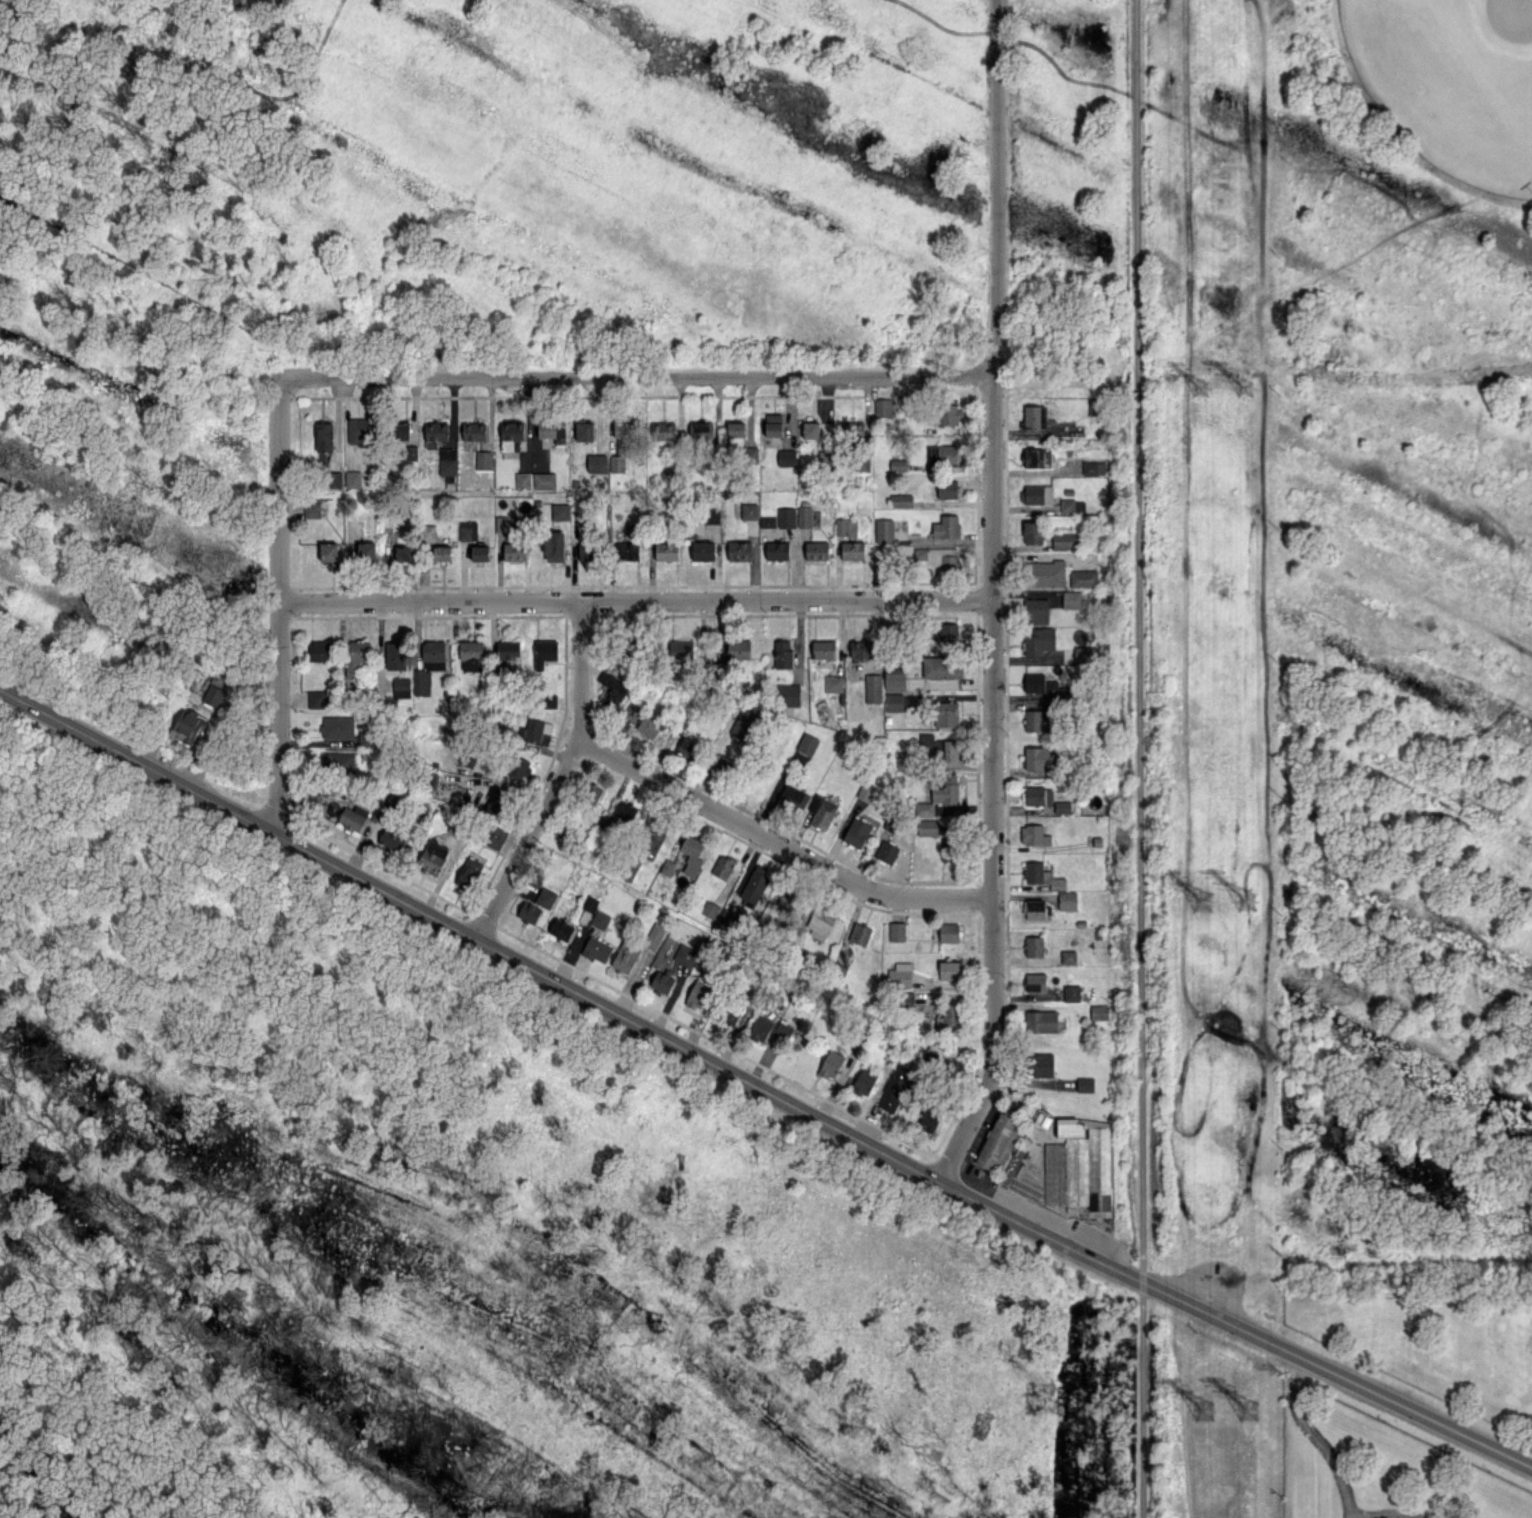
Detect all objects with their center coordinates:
park: (1451, 82)
road: (638, 377)
power tower: (1200, 385)
power tower: (1250, 387)
building: (883, 407)
building: (952, 414)
building: (1032, 416)
building: (773, 424)
building: (736, 428)
building: (852, 428)
building: (546, 429)
building: (811, 429)
building: (358, 430)
building: (400, 430)
building: (474, 430)
building: (585, 430)
building: (701, 430)
building: (664, 431)
building: (621, 432)
building: (435, 433)
building: (511, 434)
building: (324, 436)
building: (412, 452)
building: (947, 452)
building: (750, 454)
building: (786, 456)
building: (1037, 457)
building: (483, 459)
building: (447, 460)
building: (617, 463)
building: (862, 464)
building: (898, 464)
building: (1094, 467)
building: (334, 478)
building: (352, 478)
building: (523, 479)
building: (543, 480)
building: (947, 489)
building: (1039, 494)
building: (901, 499)
building: (1067, 504)
building: (312, 509)
building: (560, 511)
building: (749, 511)
building: (711, 515)
building: (786, 516)
building: (804, 516)
building: (767, 521)
building: (502, 523)
building: (846, 526)
building: (946, 526)
road: (994, 529)
building: (467, 530)
building: (884, 530)
building: (428, 532)
building: (1033, 532)
building: (1065, 540)
building: (554, 545)
building: (817, 549)
building: (628, 550)
building: (667, 550)
building: (704, 550)
building: (740, 550)
building: (777, 550)
building: (853, 550)
building: (329, 551)
building: (366, 551)
building: (515, 551)
building: (586, 551)
building: (404, 552)
building: (480, 552)
building: (442, 553)
building: (937, 559)
building: (1045, 573)
building: (1083, 577)
building: (1071, 599)
road: (637, 600)
road: (279, 605)
building: (1037, 610)
building: (949, 633)
road: (1139, 634)
building: (1040, 640)
building: (507, 648)
building: (739, 648)
building: (824, 648)
building: (862, 649)
building: (320, 650)
building: (681, 650)
building: (545, 652)
building: (395, 653)
building: (783, 654)
building: (471, 655)
building: (355, 656)
building: (429, 665)
building: (941, 667)
building: (895, 678)
building: (833, 683)
building: (1039, 683)
building: (401, 686)
building: (612, 687)
building: (873, 687)
building: (787, 694)
building: (214, 695)
building: (317, 698)
building: (549, 699)
building: (894, 701)
building: (946, 713)
building: (628, 715)
building: (1037, 719)
building: (745, 723)
building: (187, 725)
building: (338, 726)
building: (648, 726)
building: (534, 729)
building: (367, 739)
building: (807, 743)
building: (938, 746)
building: (686, 748)
building: (1035, 757)
building: (467, 758)
building: (902, 759)
building: (338, 761)
building: (721, 763)
building: (517, 769)
road: (556, 776)
building: (943, 787)
building: (866, 791)
building: (592, 793)
building: (1039, 795)
building: (793, 797)
building: (1062, 806)
building: (924, 808)
building: (625, 809)
building: (822, 811)
building: (353, 817)
building: (928, 827)
building: (857, 832)
building: (495, 835)
building: (1034, 835)
building: (392, 839)
building: (654, 839)
road: (776, 842)
building: (947, 849)
building: (887, 851)
building: (692, 854)
building: (432, 857)
building: (667, 866)
building: (723, 866)
building: (631, 868)
building: (468, 873)
building: (755, 885)
power tower: (1202, 895)
power tower: (1252, 896)
building: (546, 897)
building: (788, 899)
building: (1067, 900)
building: (587, 909)
building: (710, 909)
building: (1034, 909)
building: (529, 912)
building: (600, 919)
building: (821, 922)
building: (561, 928)
building: (897, 931)
building: (949, 932)
building: (860, 933)
building: (654, 935)
building: (1034, 946)
building: (597, 949)
building: (685, 954)
building: (625, 956)
building: (1068, 956)
building: (949, 969)
building: (900, 974)
building: (662, 980)
building: (1036, 981)
building: (1071, 992)
building: (698, 994)
building: (907, 998)
building: (1099, 1011)
building: (951, 1014)
building: (729, 1016)
building: (1041, 1021)
road: (645, 1026)
building: (761, 1028)
building: (831, 1064)
building: (1041, 1064)
building: (864, 1081)
building: (1085, 1084)
building: (898, 1086)
building: (930, 1118)
road: (970, 1121)
building: (998, 1142)
building: (1079, 1167)
road: (1144, 1281)
power tower: (1255, 1405)
road: (1144, 1406)
road: (1413, 1410)
power tower: (1204, 1414)
road: (1315, 1438)
park: (1377, 1466)
road: (1392, 1516)

